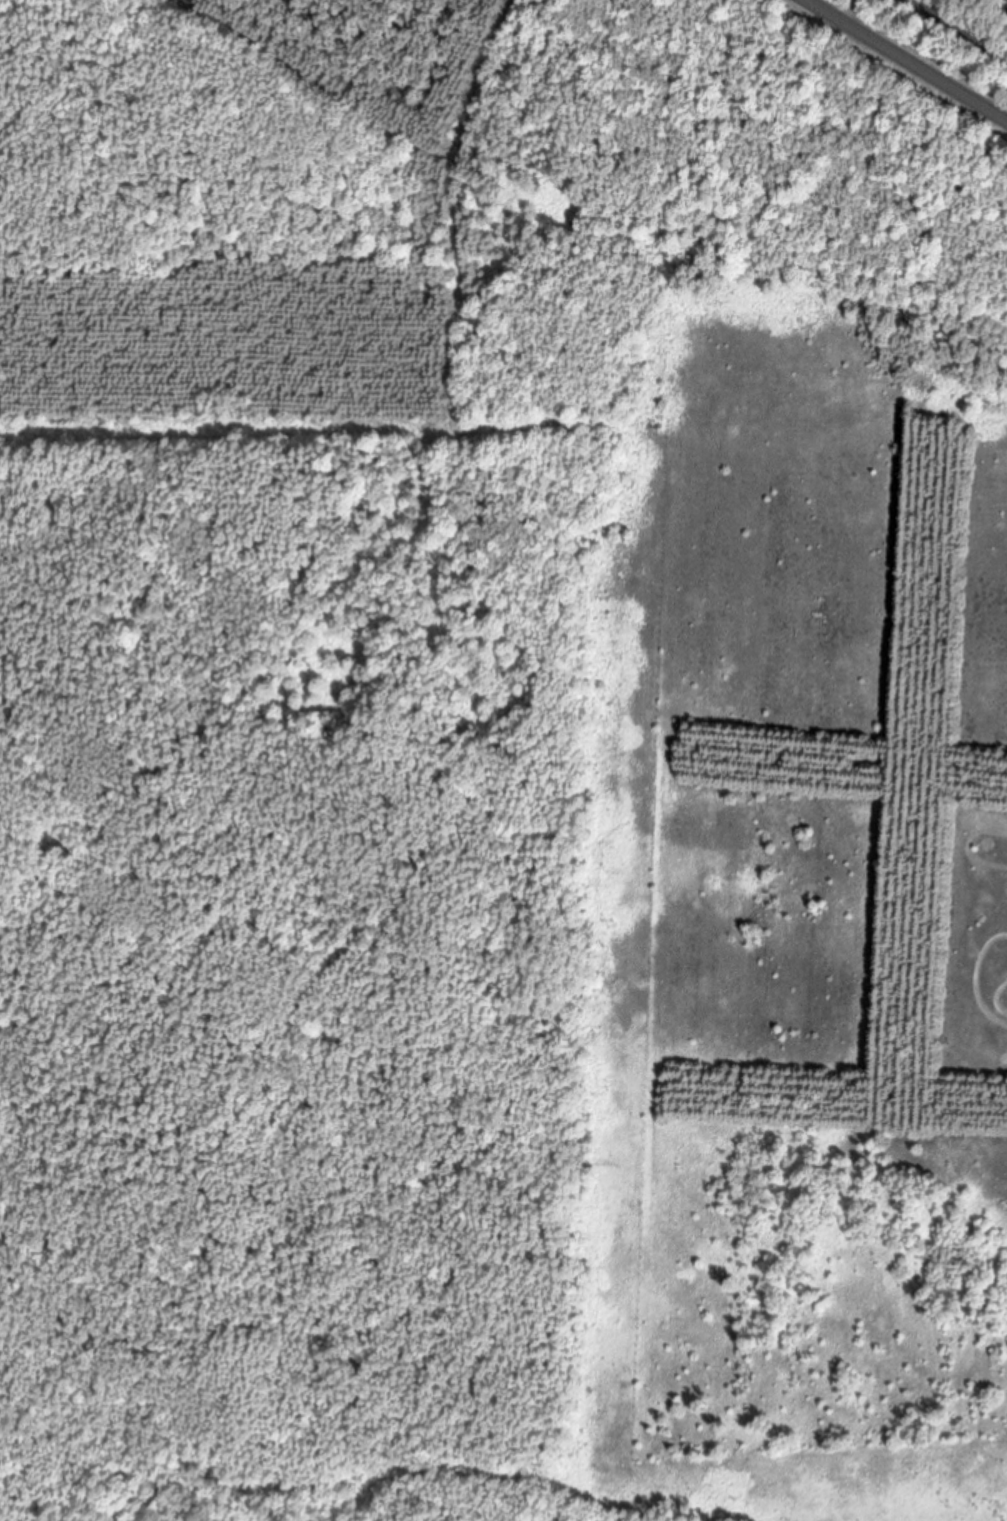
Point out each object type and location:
road: (954, 31)
road: (907, 59)

